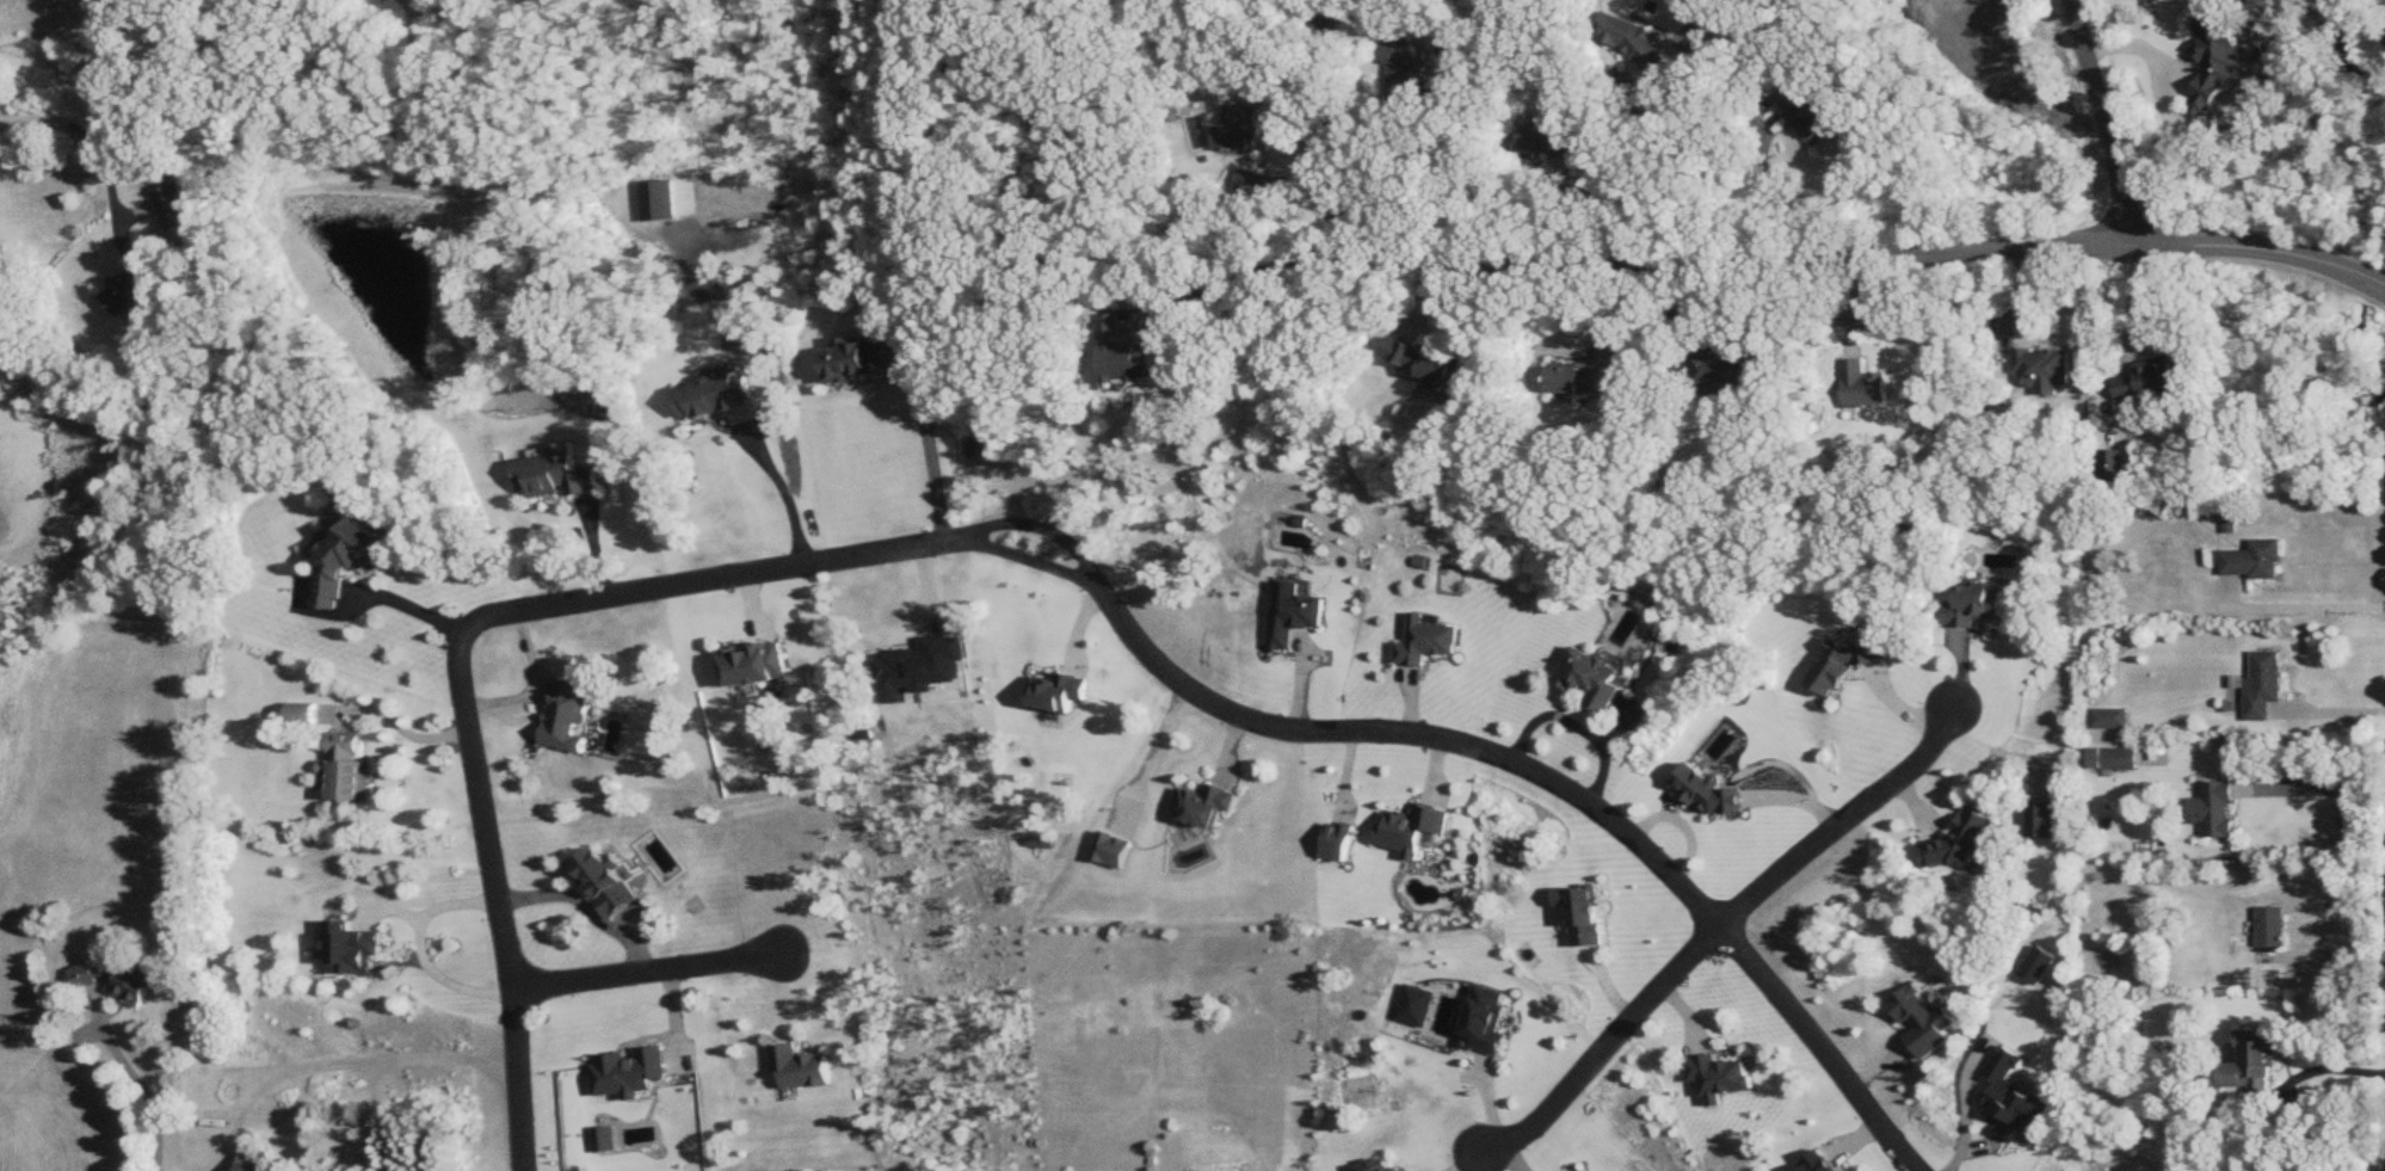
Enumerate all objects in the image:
building: (1795, 12)
road: (1299, 14)
building: (1631, 41)
building: (2220, 62)
building: (1406, 74)
building: (1811, 117)
road: (2106, 122)
road: (79, 129)
building: (1239, 131)
building: (1548, 141)
road: (1633, 171)
road: (1763, 192)
building: (175, 210)
road: (1743, 257)
road: (1247, 275)
building: (132, 289)
building: (1124, 357)
building: (856, 363)
building: (1428, 364)
building: (2045, 370)
building: (1726, 371)
building: (2150, 381)
building: (1580, 382)
building: (1865, 387)
building: (715, 397)
building: (978, 445)
road: (927, 458)
building: (2114, 467)
building: (559, 475)
road: (788, 503)
building: (2184, 506)
building: (2255, 561)
building: (343, 562)
road: (408, 605)
building: (1977, 606)
road: (2297, 606)
building: (1283, 617)
building: (1425, 640)
building: (752, 664)
building: (1595, 678)
building: (2264, 685)
road: (2331, 710)
building: (561, 717)
building: (2112, 719)
road: (1247, 721)
building: (2113, 758)
building: (346, 770)
road: (2321, 785)
building: (1188, 806)
building: (2220, 809)
building: (1093, 850)
building: (591, 881)
road: (488, 900)
road: (574, 908)
building: (1584, 918)
road: (1719, 929)
building: (2270, 929)
building: (355, 948)
road: (2331, 956)
road: (421, 962)
road: (633, 974)
building: (119, 981)
building: (2249, 1062)
building: (783, 1068)
road: (2310, 1070)
road: (369, 1071)
building: (1717, 1076)
road: (142, 1079)
building: (253, 1158)
building: (1813, 1163)
building: (1369, 1165)
building: (1565, 1170)

